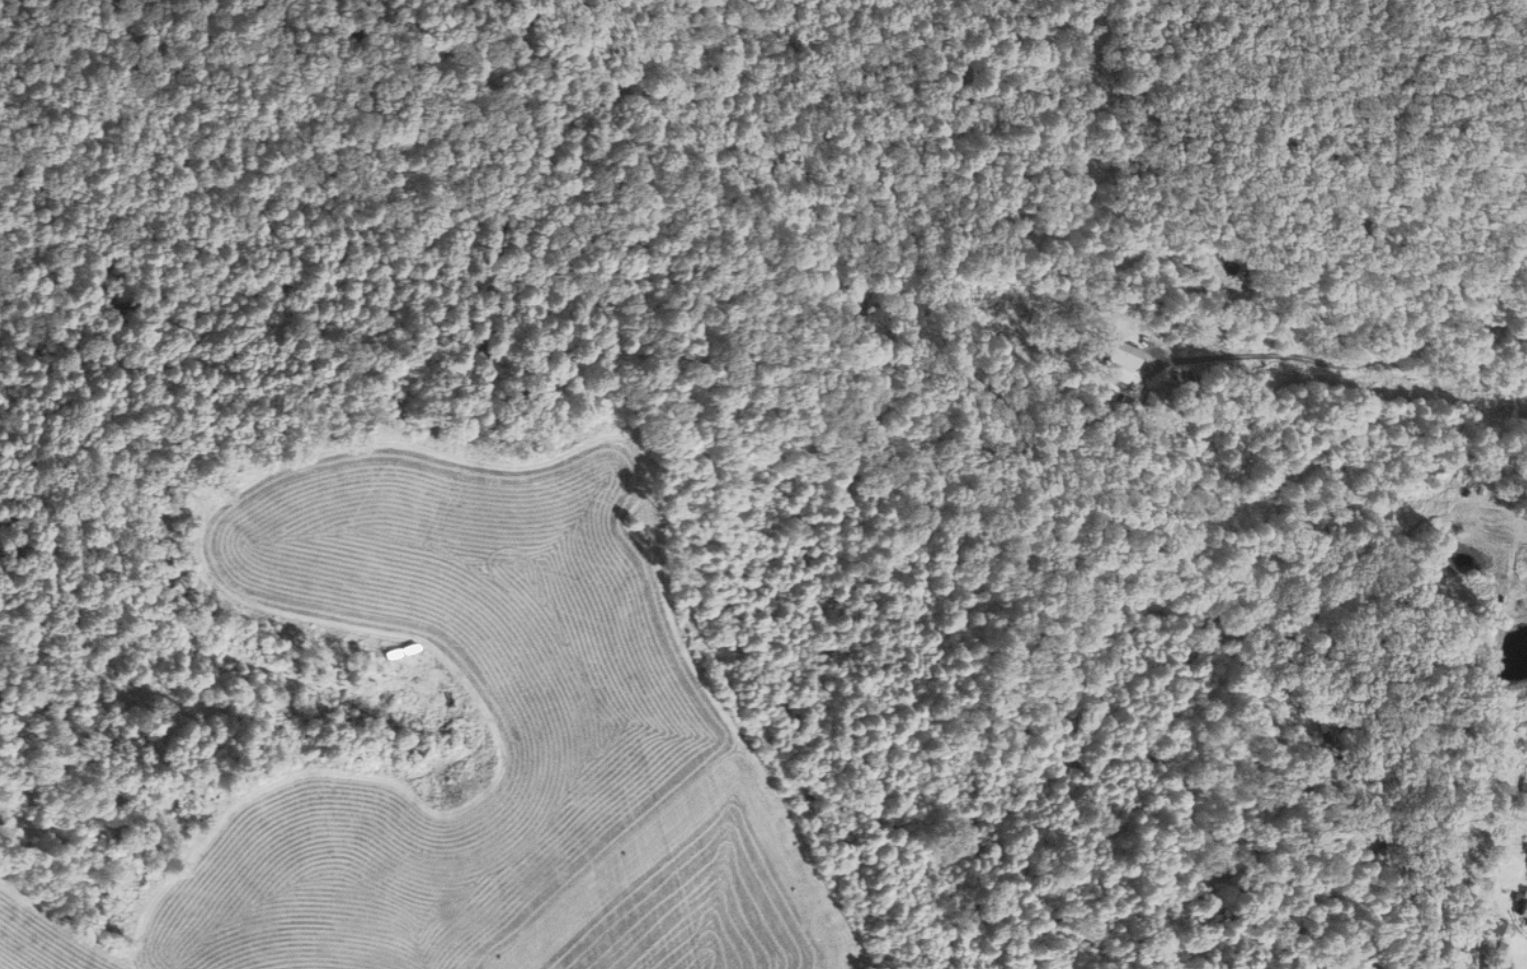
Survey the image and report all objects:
building: (1123, 357)
building: (1523, 783)
building: (1522, 910)

